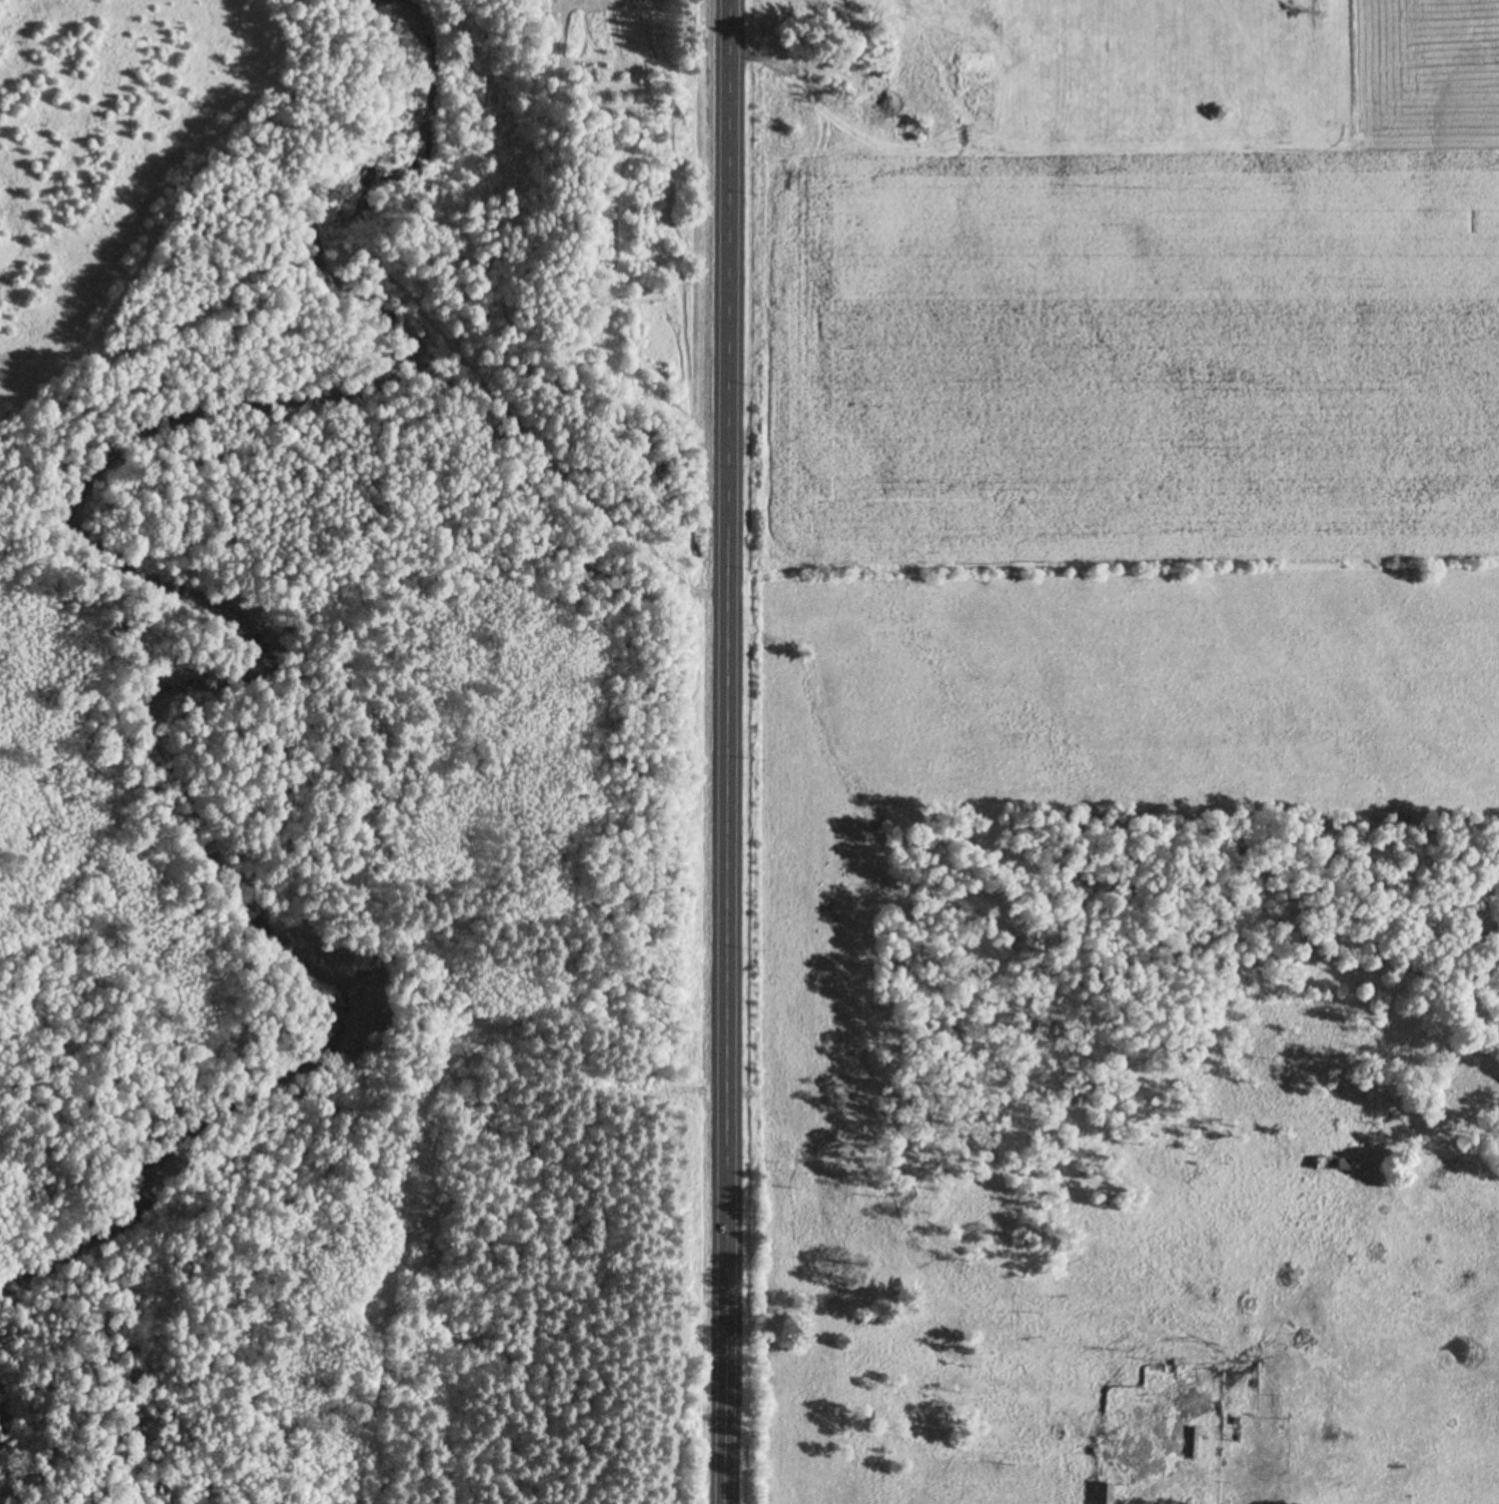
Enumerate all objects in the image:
crop: (1105, 701)
road: (727, 752)
building: (1331, 1161)
building: (1157, 1366)
building: (1196, 1440)
building: (1104, 1441)
building: (1104, 1491)

